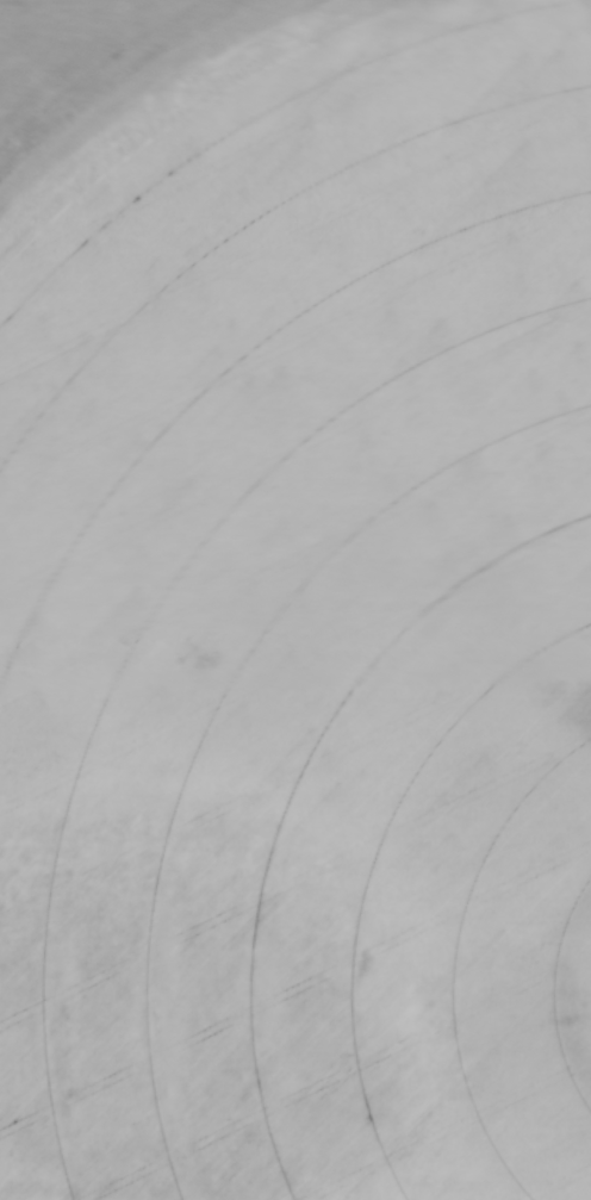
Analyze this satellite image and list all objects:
crop: (295, 599)

